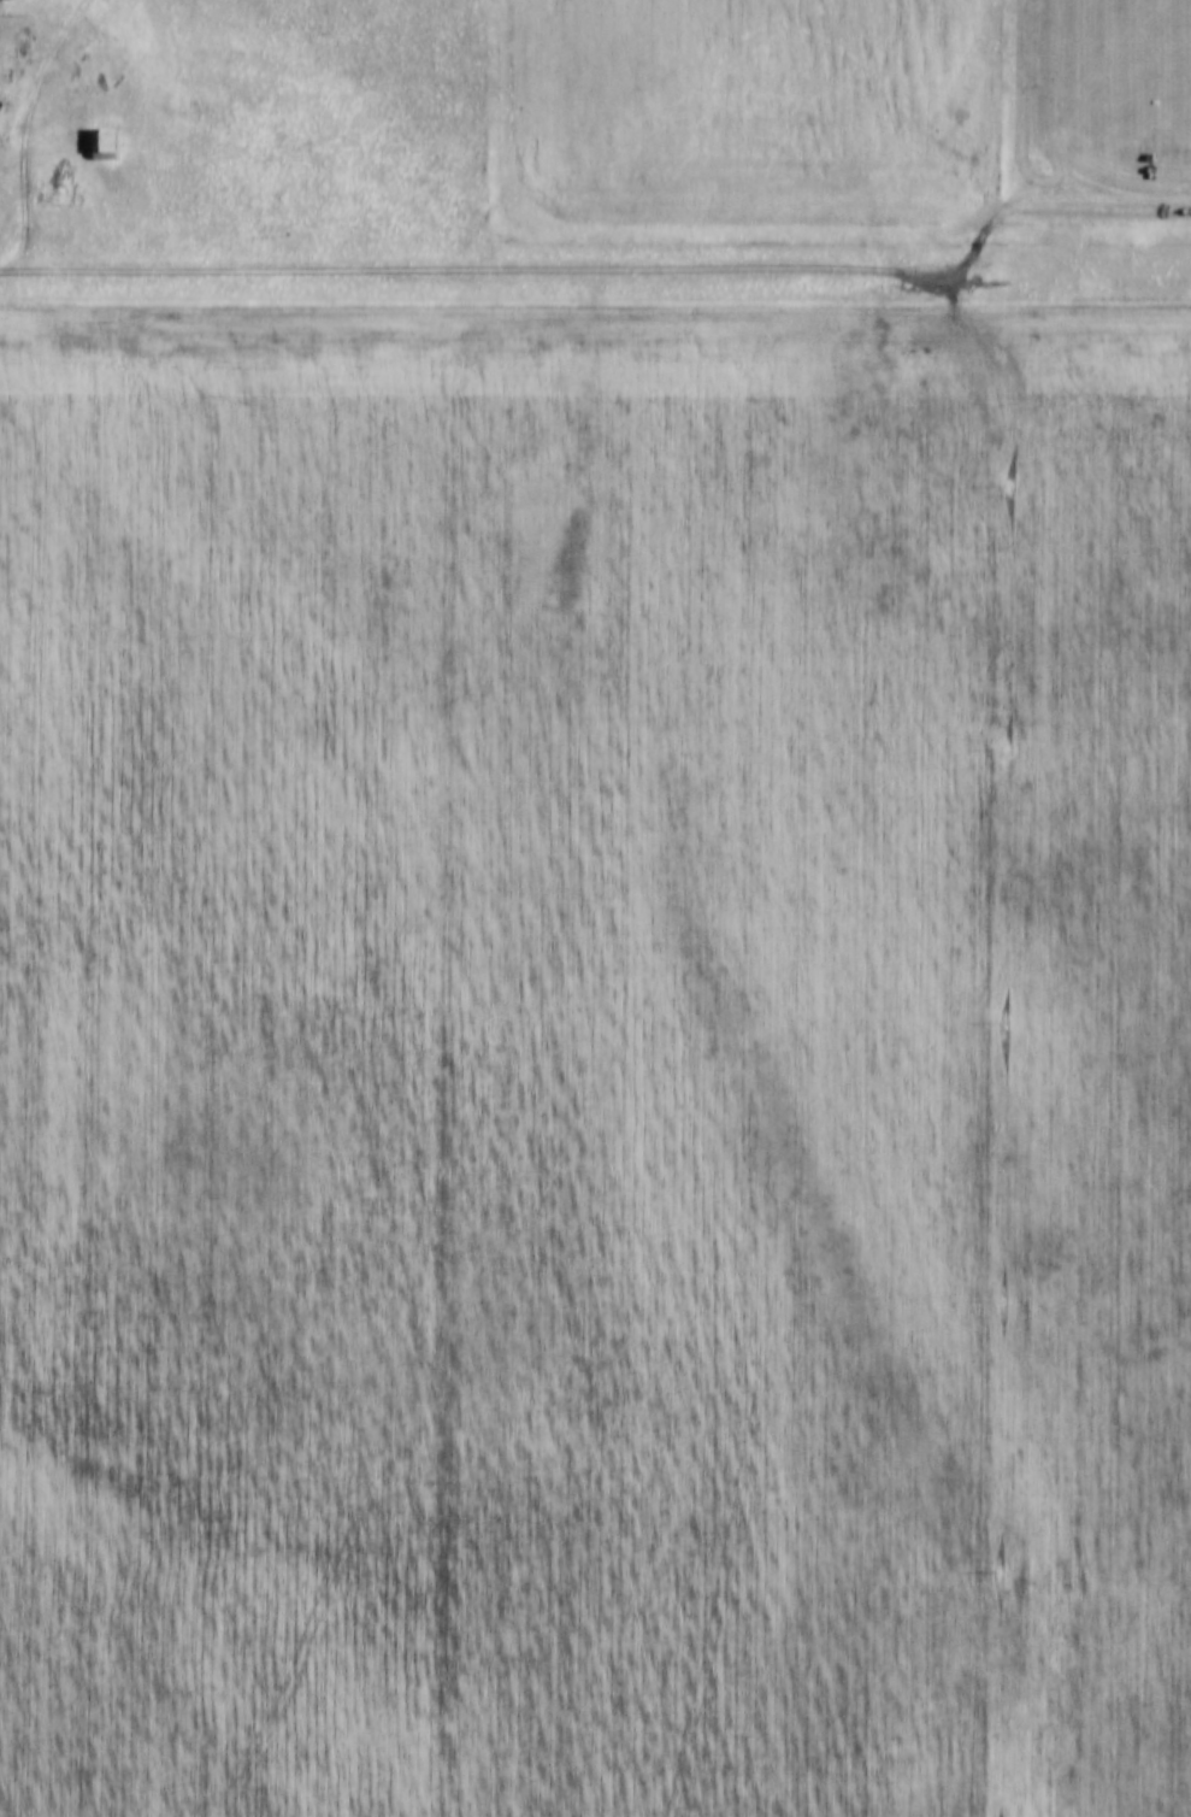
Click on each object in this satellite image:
building: (13, 33)
building: (100, 130)
building: (88, 140)
road: (25, 158)
road: (595, 271)

